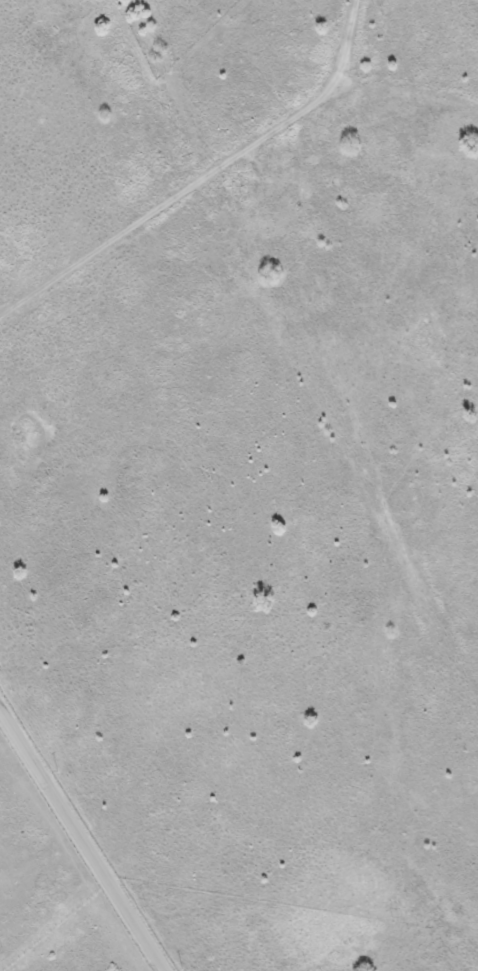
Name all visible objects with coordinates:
road: (392, 75)
road: (227, 235)
road: (84, 835)

